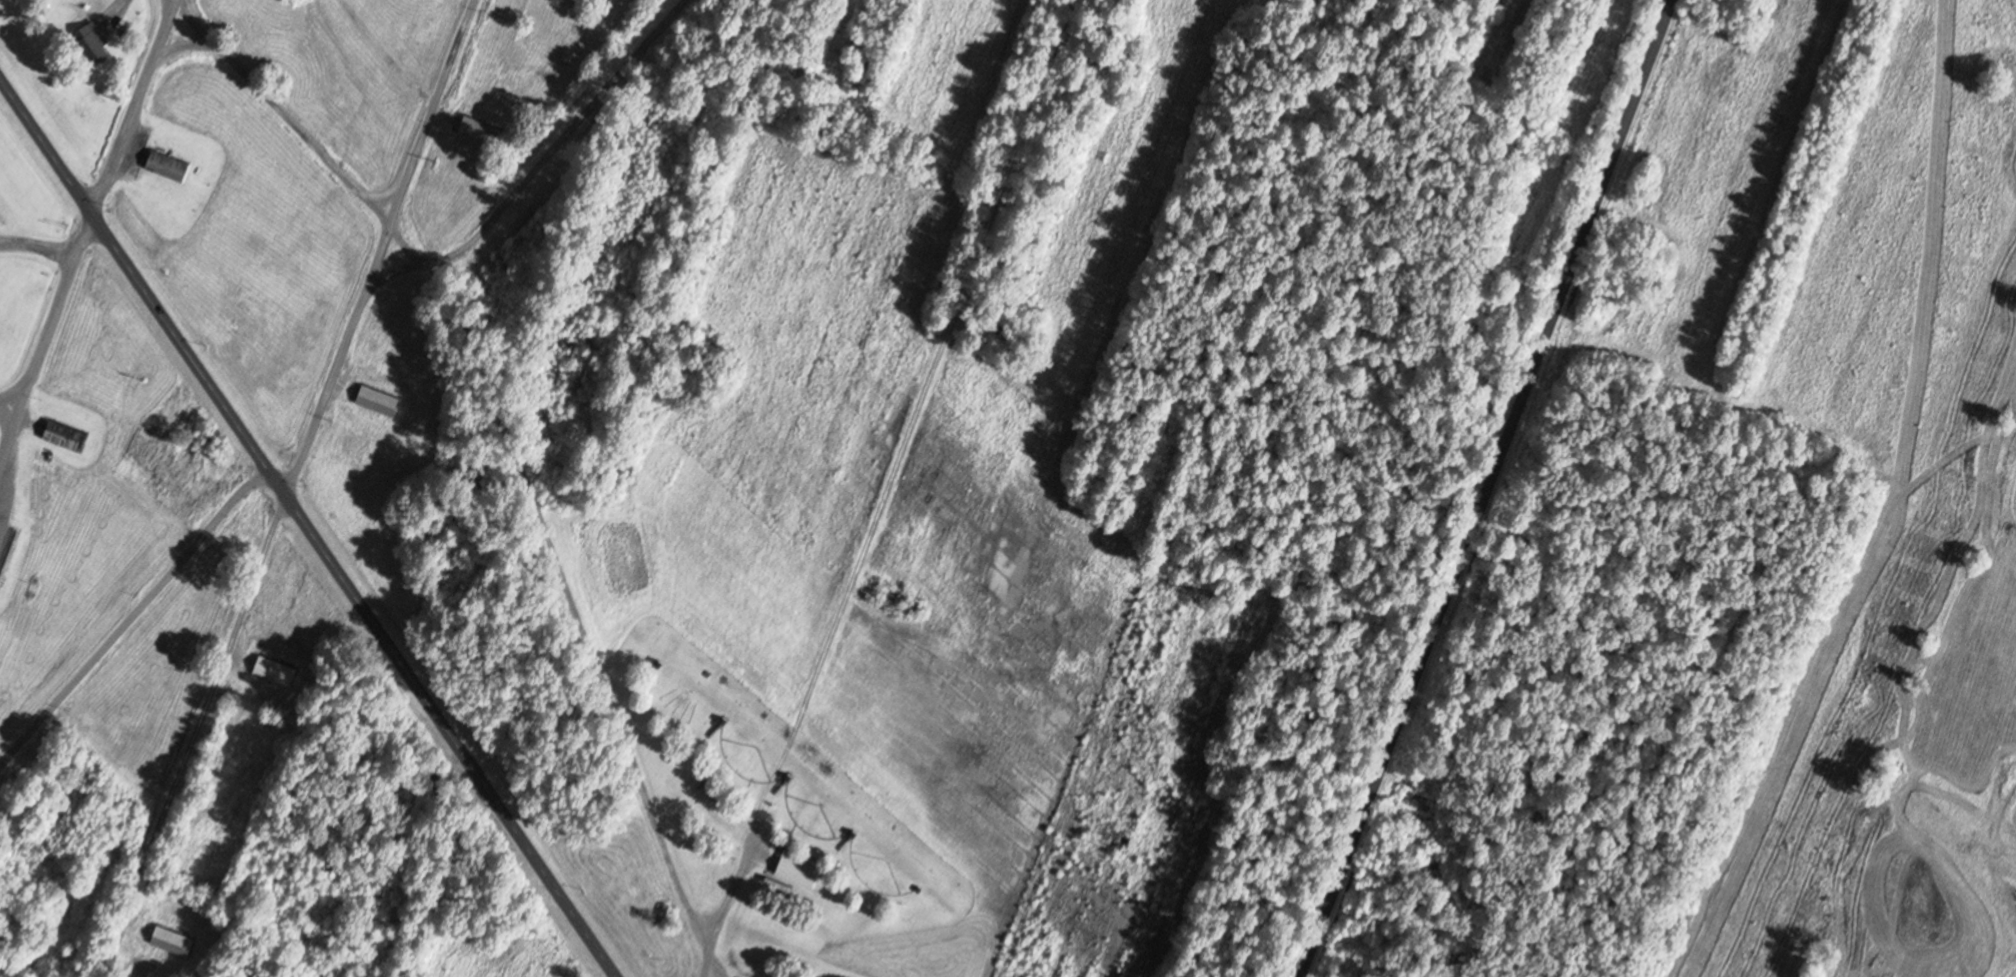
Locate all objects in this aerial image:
building: (478, 126)
building: (164, 166)
road: (536, 170)
road: (88, 222)
road: (376, 249)
road: (146, 293)
building: (367, 397)
road: (6, 406)
building: (59, 435)
road: (486, 441)
road: (864, 488)
road: (1206, 488)
road: (1492, 489)
road: (574, 490)
road: (133, 614)
building: (270, 670)
road: (198, 740)
road: (455, 740)
building: (706, 794)
building: (795, 869)
building: (168, 941)
road: (714, 964)

